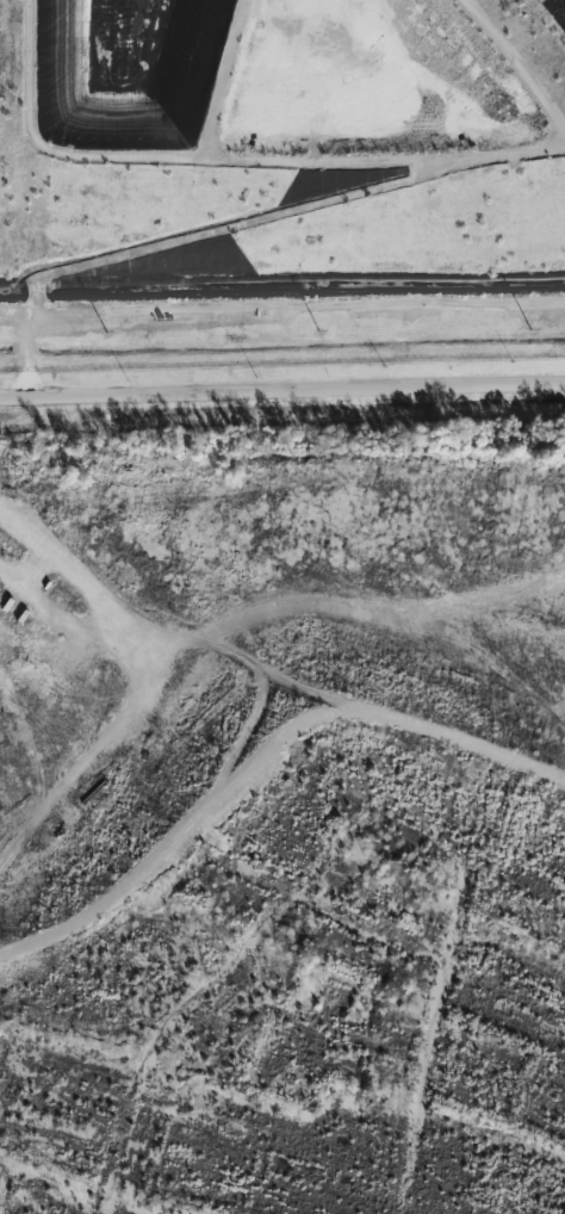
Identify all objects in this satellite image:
road: (282, 390)
road: (185, 620)
road: (468, 745)
road: (187, 825)

